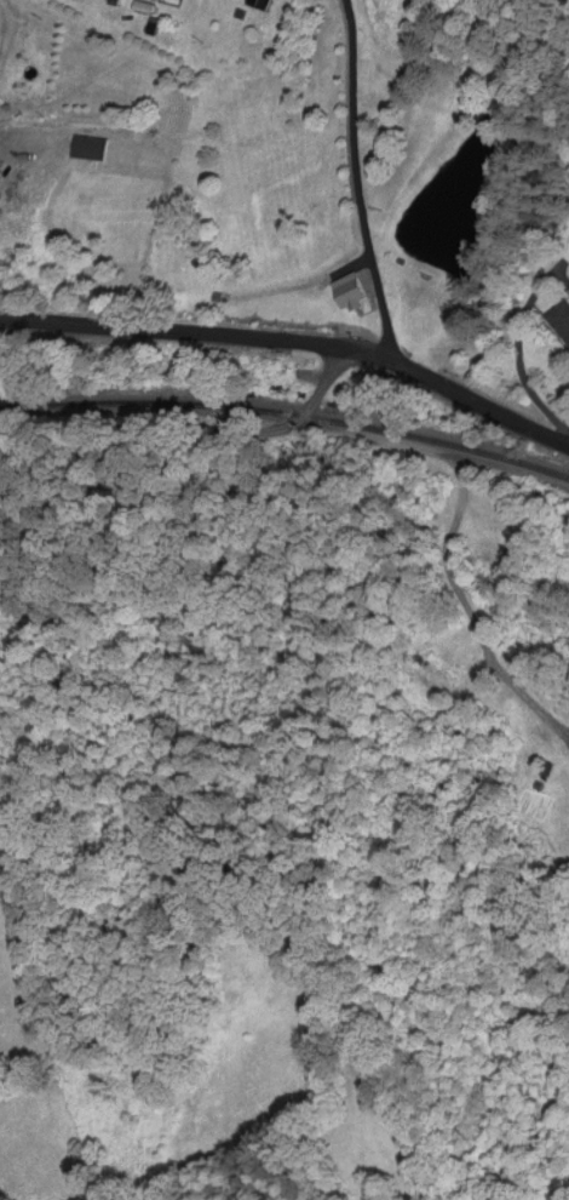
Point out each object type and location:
building: (257, 5)
building: (88, 149)
road: (358, 182)
building: (346, 293)
building: (559, 322)
road: (293, 337)
railway: (288, 415)
road: (194, 429)
road: (464, 468)
road: (527, 690)

